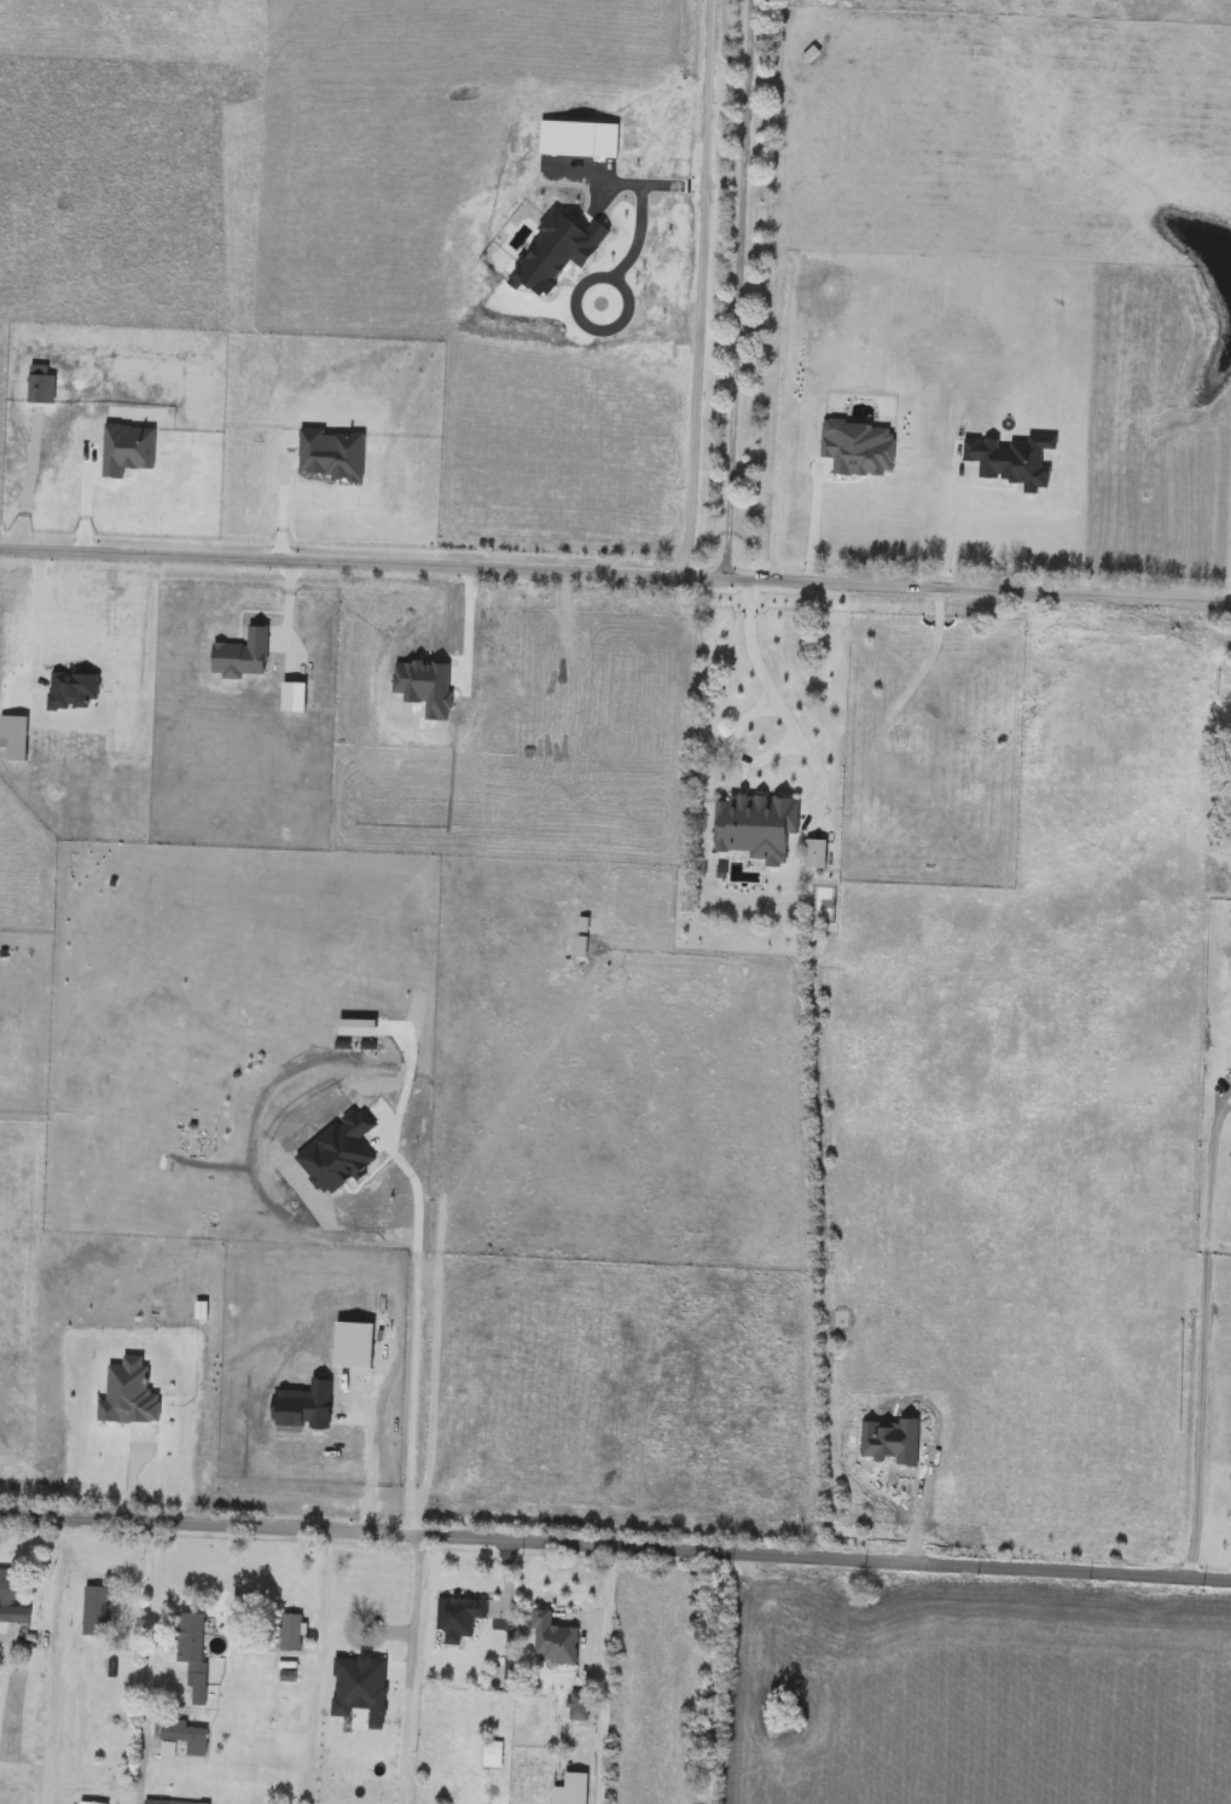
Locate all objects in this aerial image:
road: (640, 192)
road: (699, 289)
road: (734, 289)
road: (278, 501)
road: (812, 521)
road: (959, 527)
road: (615, 574)
road: (35, 617)
road: (1064, 639)
road: (780, 709)
road: (734, 750)
road: (412, 1332)
road: (1207, 1334)
road: (368, 1451)
road: (935, 1493)
road: (617, 1536)
road: (56, 1587)
building: (12, 1601)
building: (381, 1606)
building: (97, 1613)
building: (459, 1619)
building: (563, 1625)
building: (292, 1634)
building: (192, 1657)
road: (149, 1663)
road: (411, 1664)
road: (318, 1669)
road: (608, 1670)
building: (186, 1739)
building: (168, 1752)
building: (494, 1752)

